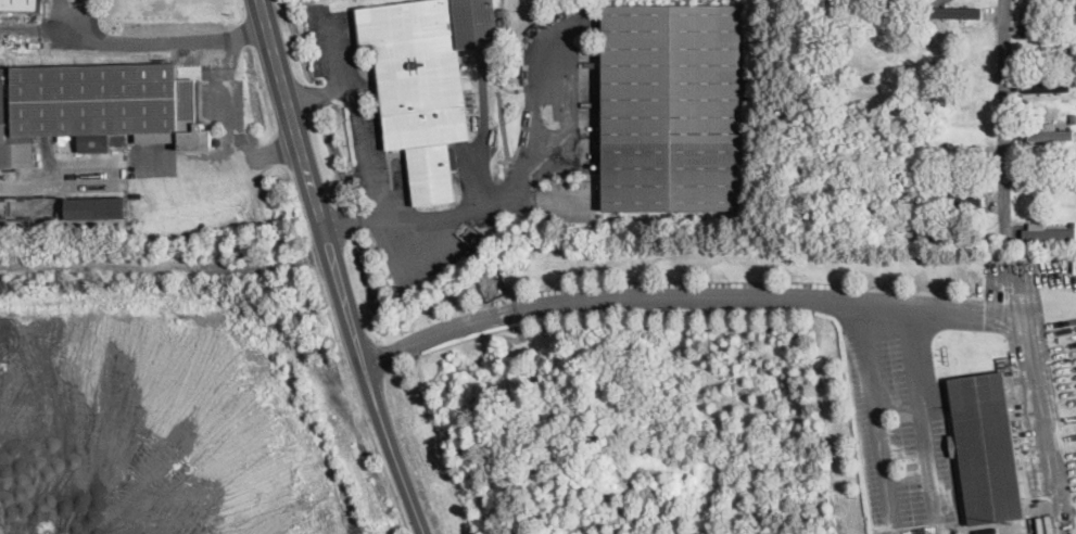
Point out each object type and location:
building: (21, 4)
building: (1071, 8)
building: (503, 13)
building: (962, 16)
building: (505, 22)
building: (1049, 35)
road: (159, 37)
building: (1071, 48)
building: (426, 81)
building: (1048, 87)
building: (1074, 87)
road: (316, 93)
building: (99, 107)
building: (674, 107)
road: (291, 109)
road: (1004, 117)
building: (1074, 122)
road: (228, 125)
building: (1075, 133)
building: (1051, 136)
road: (363, 142)
building: (962, 151)
building: (934, 161)
building: (1048, 185)
building: (1075, 185)
road: (511, 187)
building: (958, 200)
building: (97, 207)
building: (941, 209)
building: (1052, 236)
road: (686, 293)
road: (369, 377)
landfill: (176, 399)
road: (1035, 404)
road: (922, 409)
road: (875, 410)
building: (987, 448)
road: (389, 478)
landfill: (656, 491)

